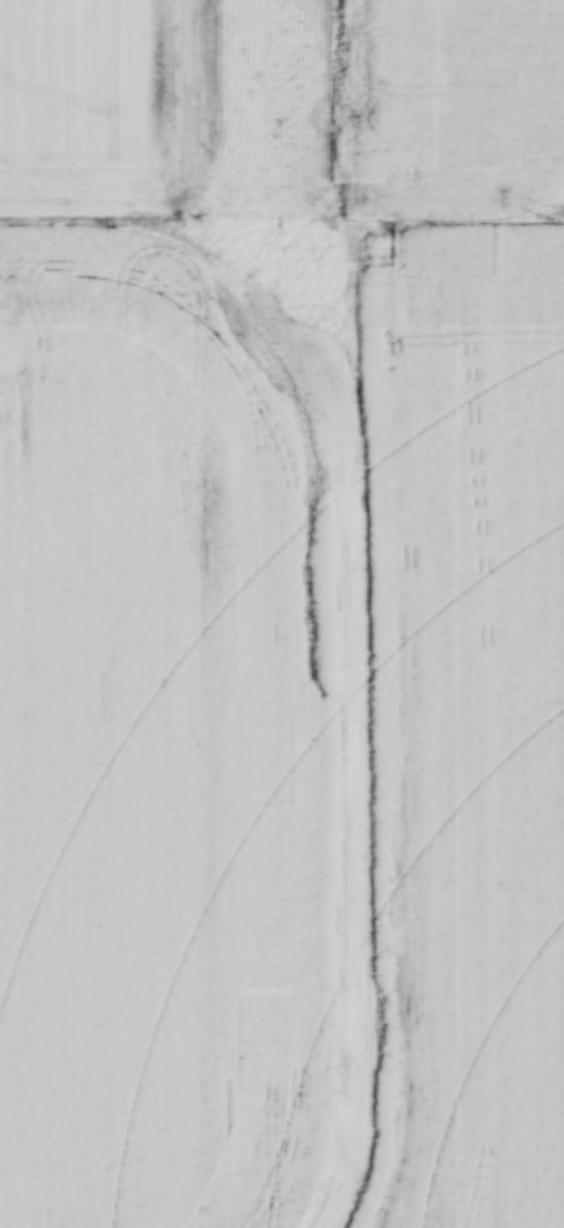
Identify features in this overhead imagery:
power tower: (553, 219)

